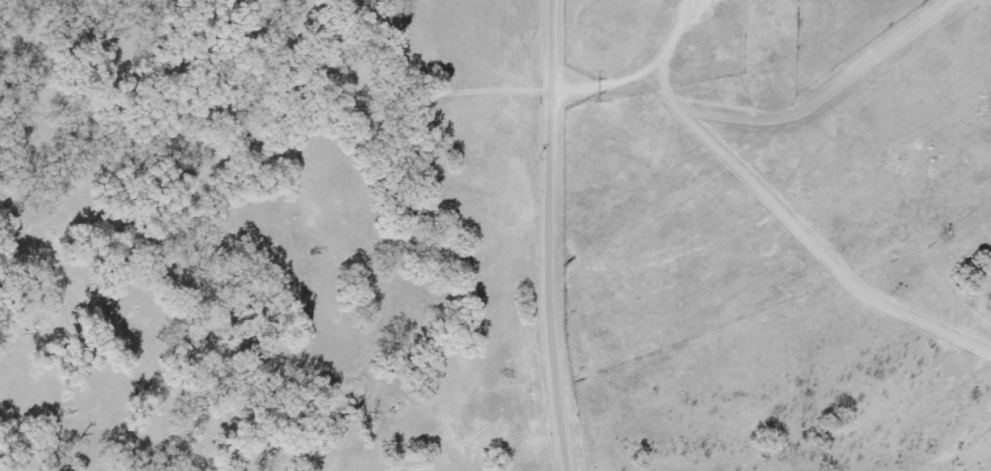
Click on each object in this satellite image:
railway: (540, 235)
road: (553, 235)

